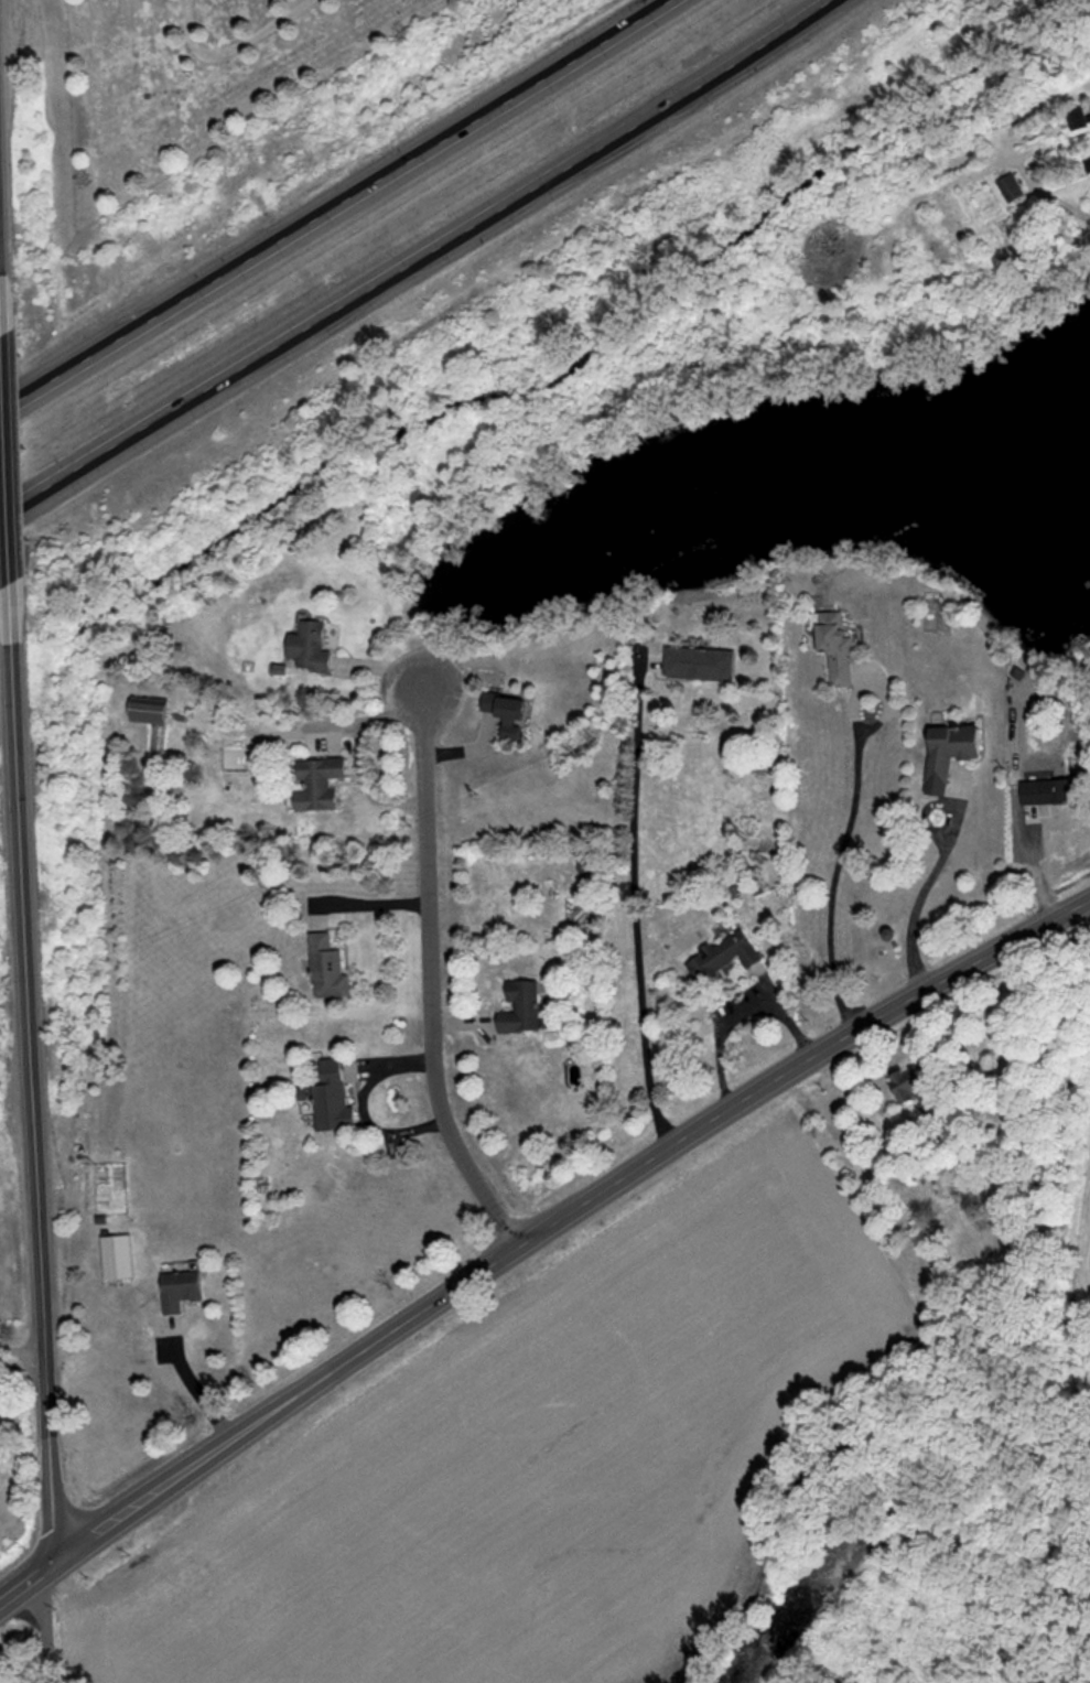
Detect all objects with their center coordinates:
road: (234, 47)
park: (197, 76)
building: (1079, 117)
building: (1011, 187)
road: (335, 206)
road: (3, 217)
road: (420, 260)
road: (13, 458)
building: (310, 647)
building: (835, 647)
building: (699, 662)
building: (506, 712)
road: (373, 716)
building: (151, 720)
building: (949, 749)
building: (317, 783)
building: (1050, 791)
road: (837, 869)
road: (921, 900)
road: (374, 902)
road: (636, 911)
building: (723, 954)
building: (327, 968)
road: (433, 975)
building: (520, 1008)
road: (798, 1061)
road: (39, 1071)
building: (914, 1089)
building: (332, 1097)
road: (365, 1109)
building: (117, 1256)
crop: (1088, 1279)
building: (180, 1290)
road: (24, 1351)
road: (192, 1384)
road: (290, 1402)
road: (30, 1582)
road: (46, 1629)

